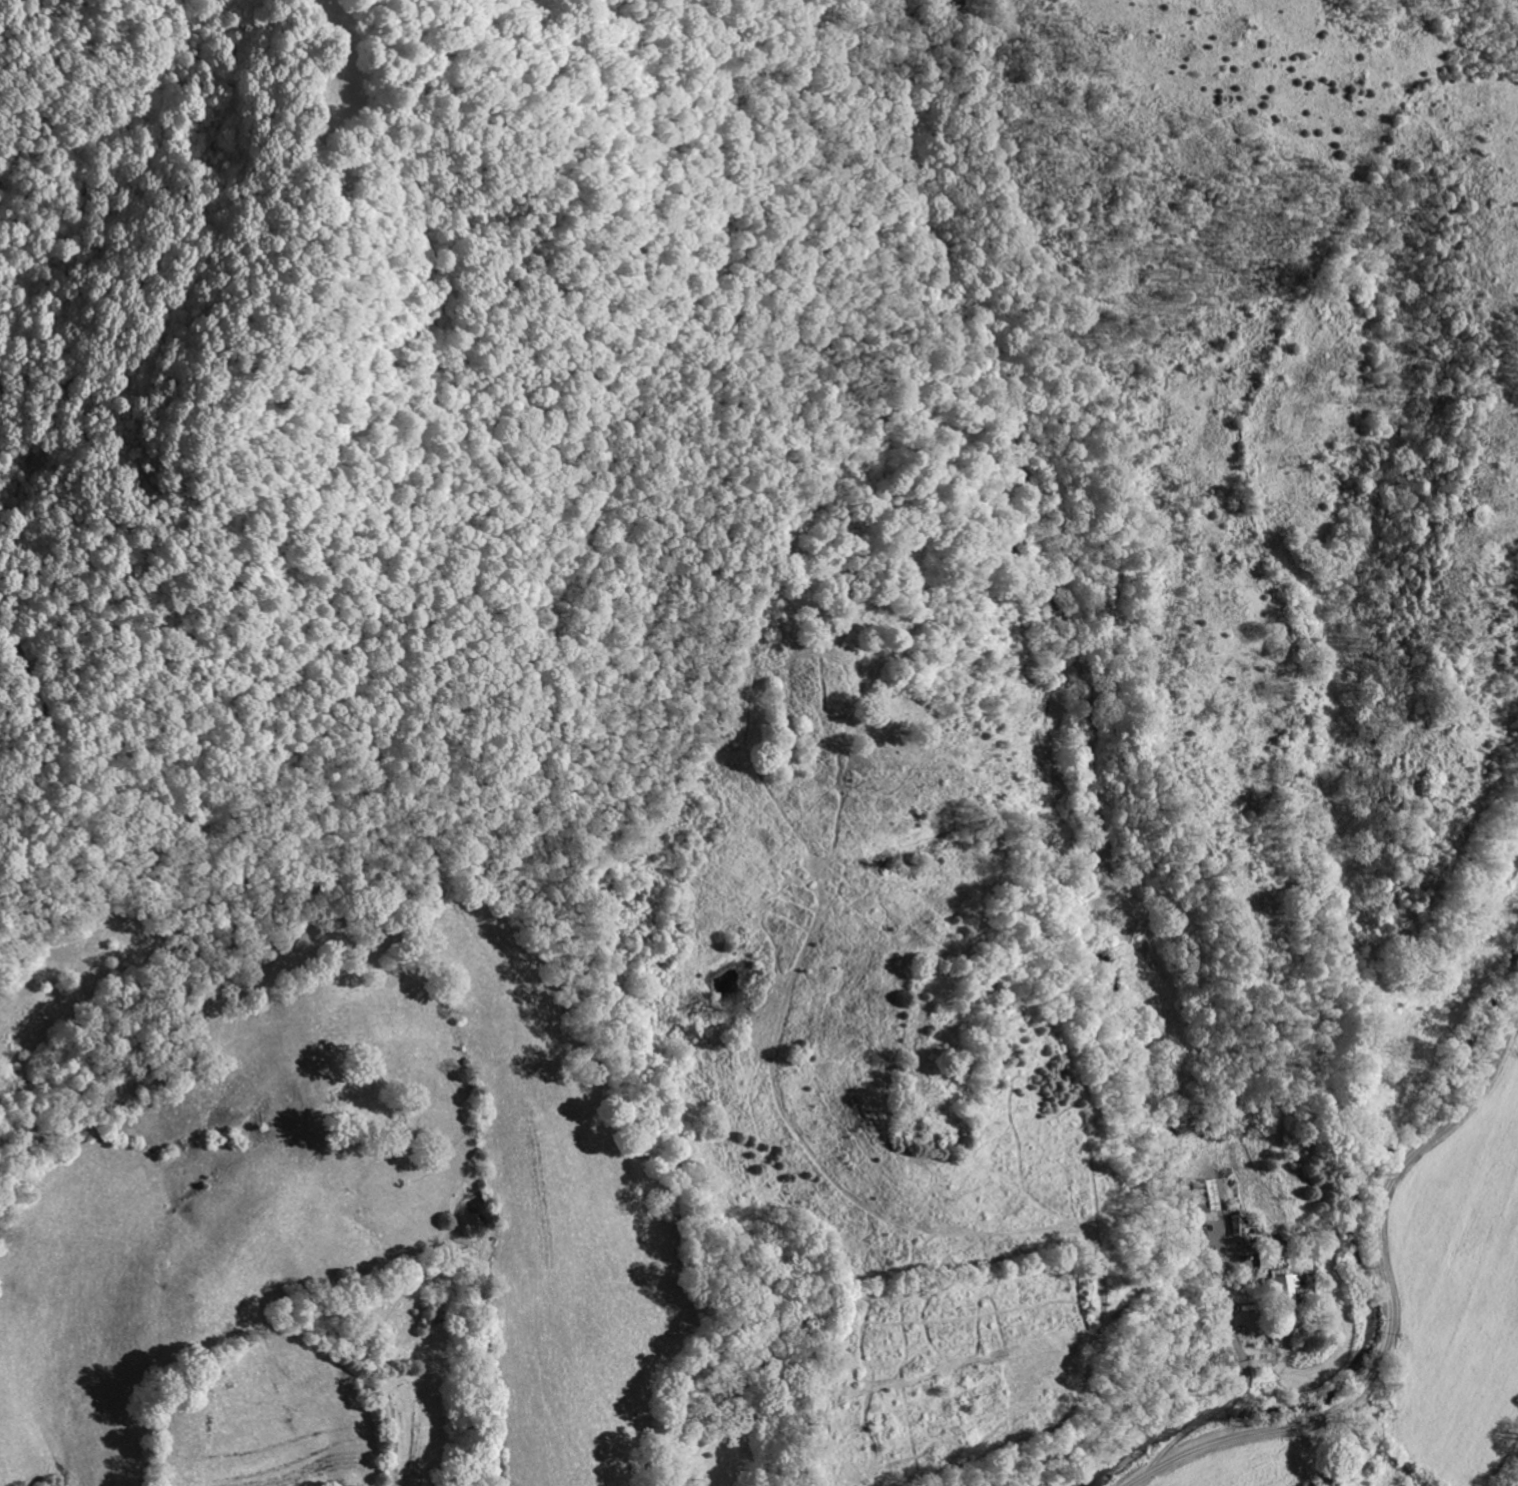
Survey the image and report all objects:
building: (1204, 1196)
building: (1281, 1288)
road: (1390, 1307)

